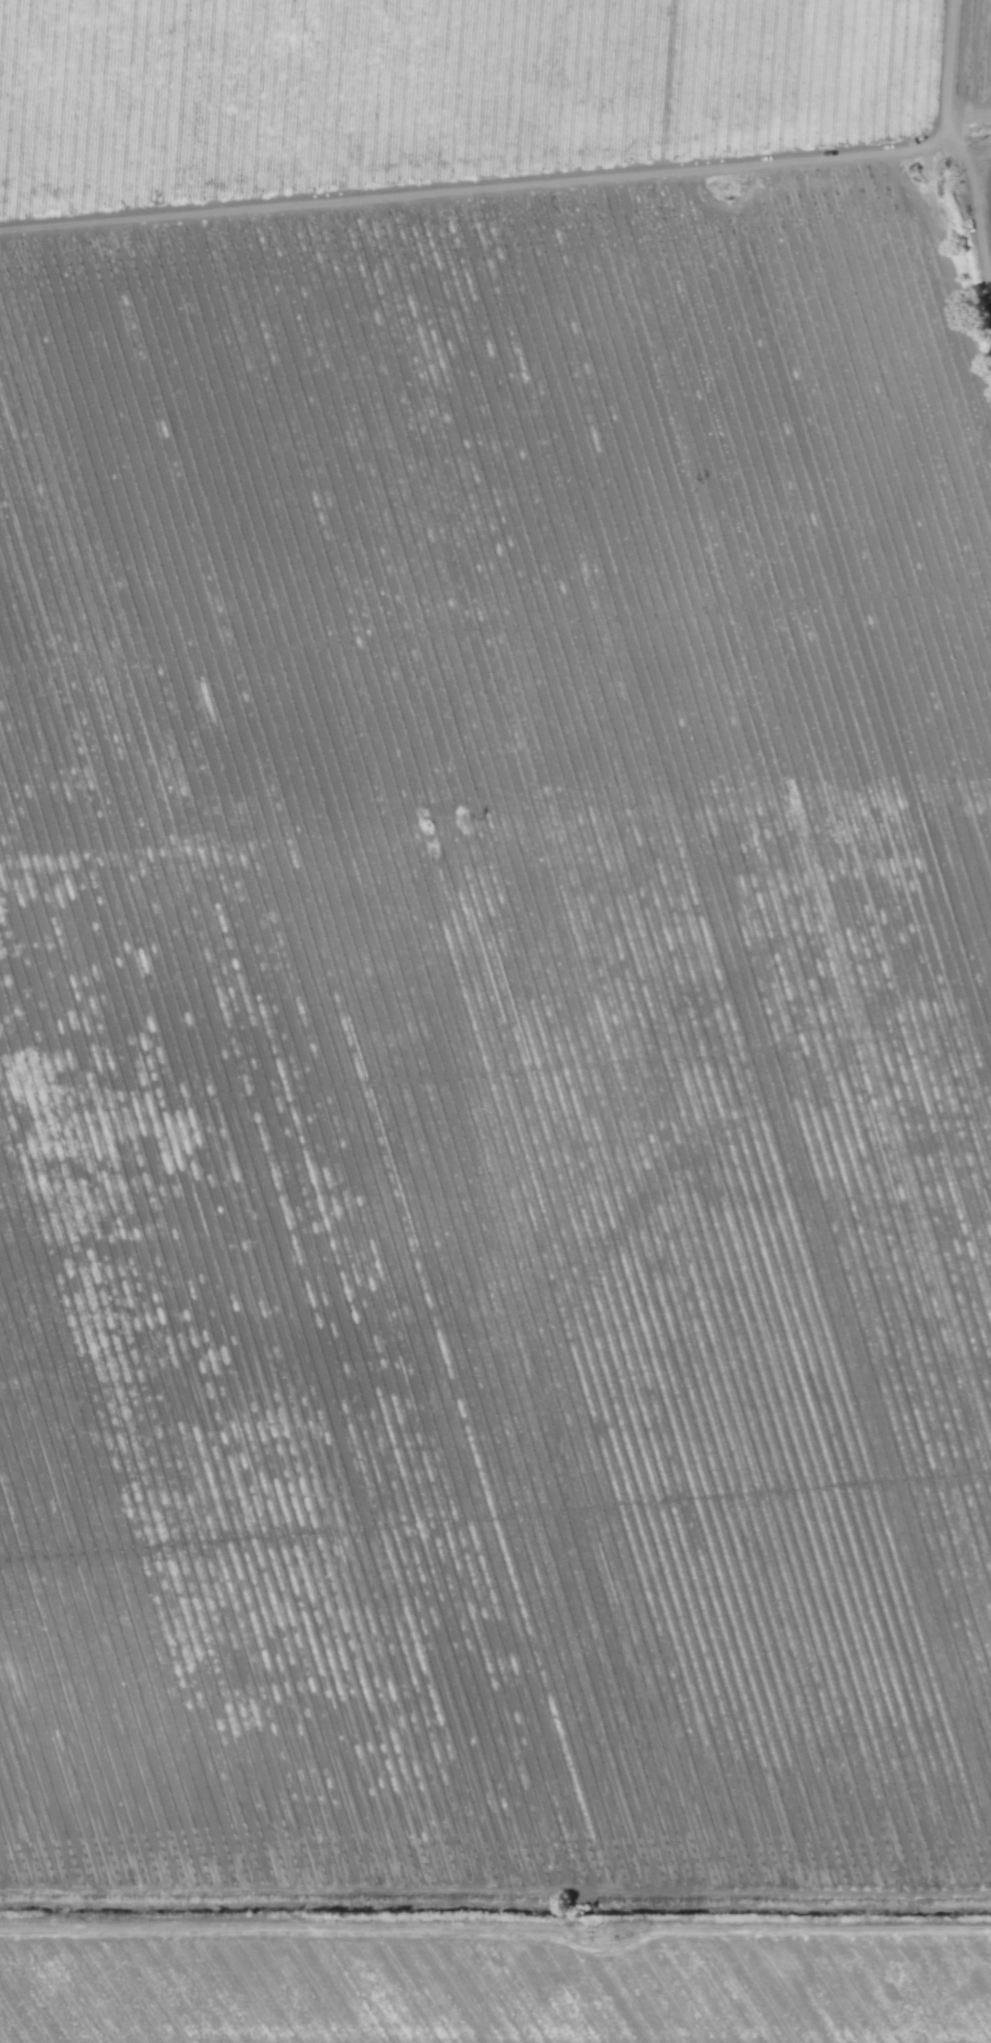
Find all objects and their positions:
crop: (495, 1021)

